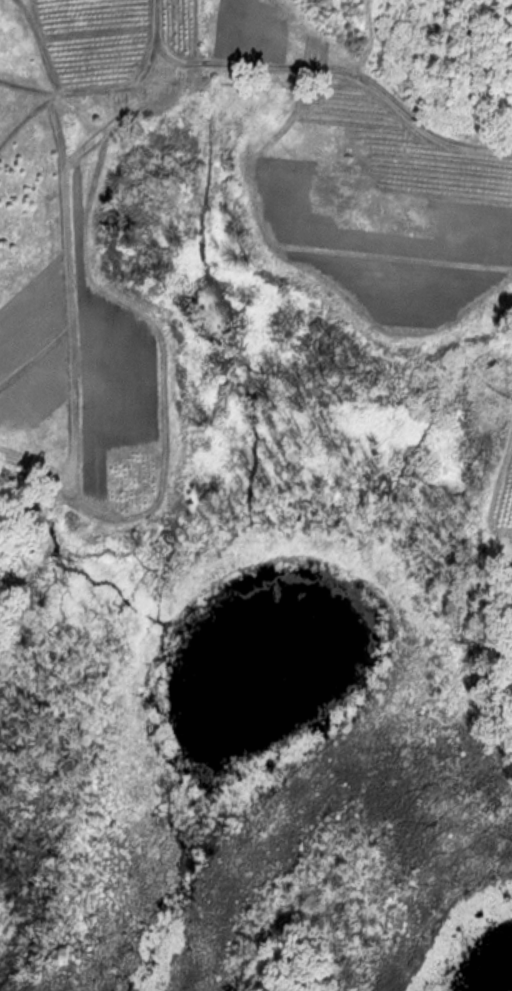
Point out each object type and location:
road: (321, 70)
building: (123, 97)
park: (257, 742)

